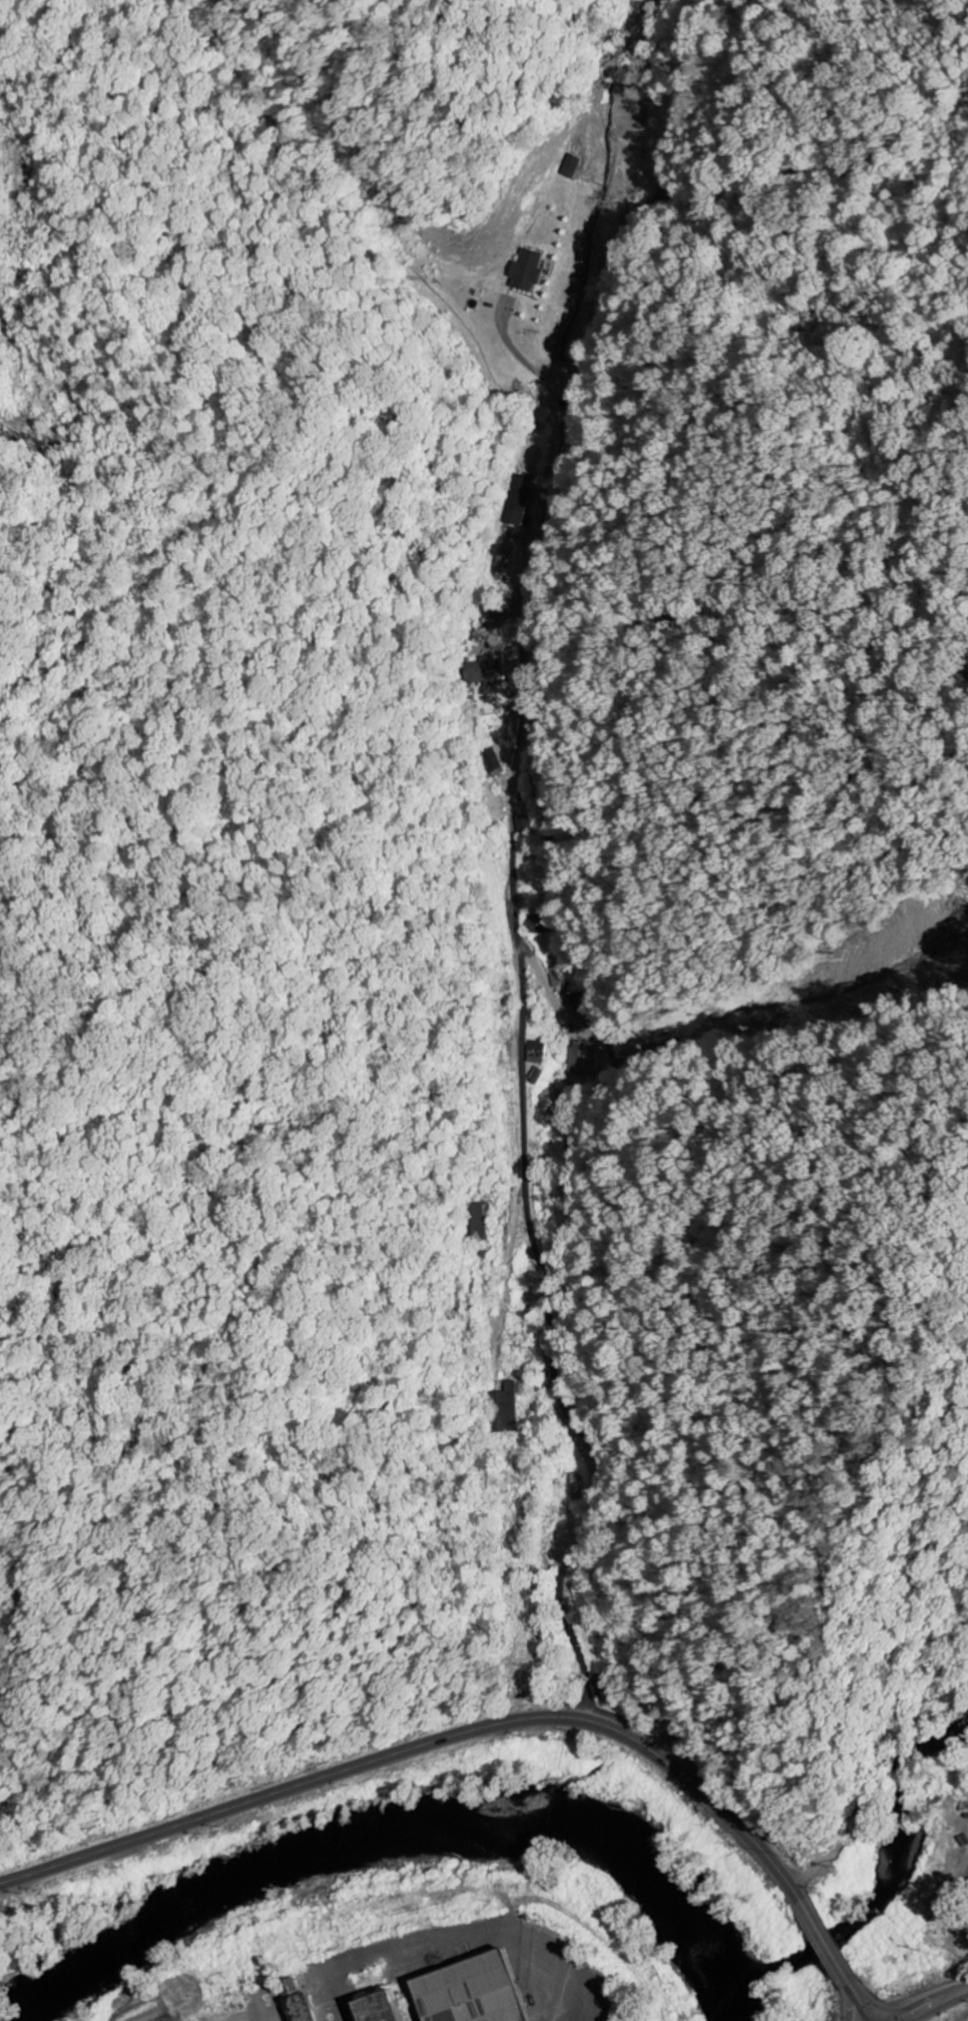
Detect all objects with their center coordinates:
building: (532, 271)
building: (523, 823)
road: (506, 856)
building: (538, 1049)
building: (582, 1056)
building: (479, 1223)
road: (512, 1257)
building: (505, 1409)
road: (494, 1723)
road: (1, 1801)
river: (409, 1834)
river: (892, 1887)
building: (466, 1992)
road: (932, 2004)
building: (375, 2008)
railway: (962, 2016)

